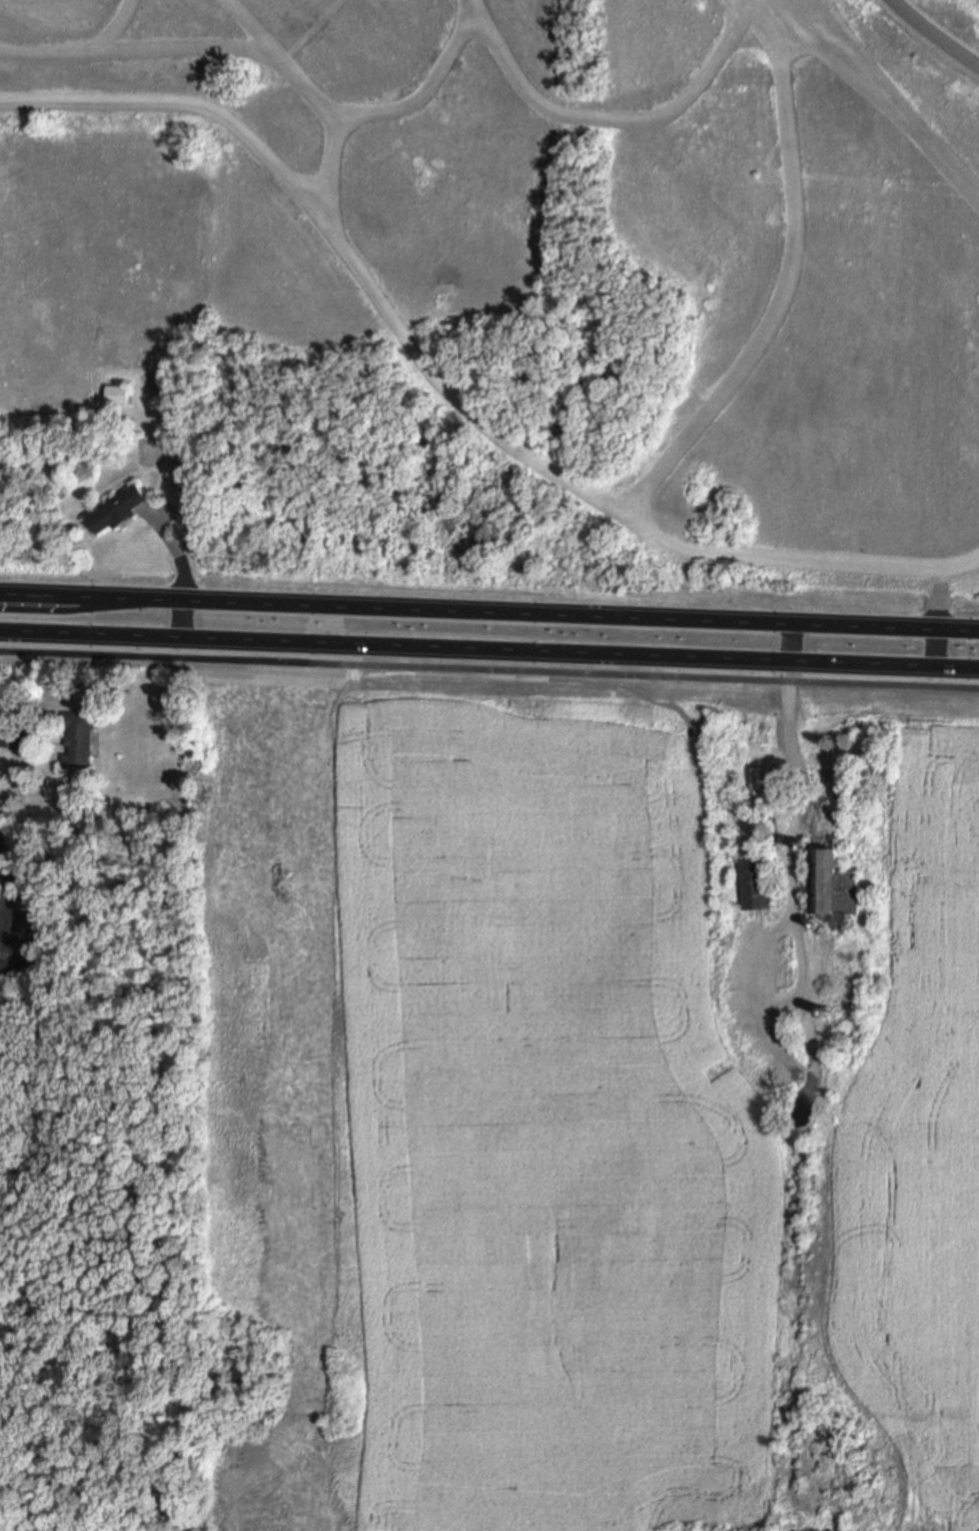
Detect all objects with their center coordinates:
track: (111, 30)
road: (309, 31)
park: (939, 33)
road: (932, 36)
road: (77, 53)
road: (278, 62)
road: (890, 95)
road: (380, 109)
road: (609, 122)
road: (780, 282)
track: (378, 298)
road: (449, 392)
building: (120, 393)
building: (121, 508)
road: (89, 589)
road: (938, 595)
road: (579, 608)
road: (489, 649)
road: (974, 667)
road: (489, 670)
building: (256, 680)
building: (752, 689)
building: (813, 692)
building: (759, 729)
building: (13, 732)
building: (82, 738)
building: (844, 776)
building: (755, 785)
road: (804, 801)
building: (754, 880)
building: (827, 883)
road: (10, 899)
road: (5, 921)
crop: (599, 1140)

